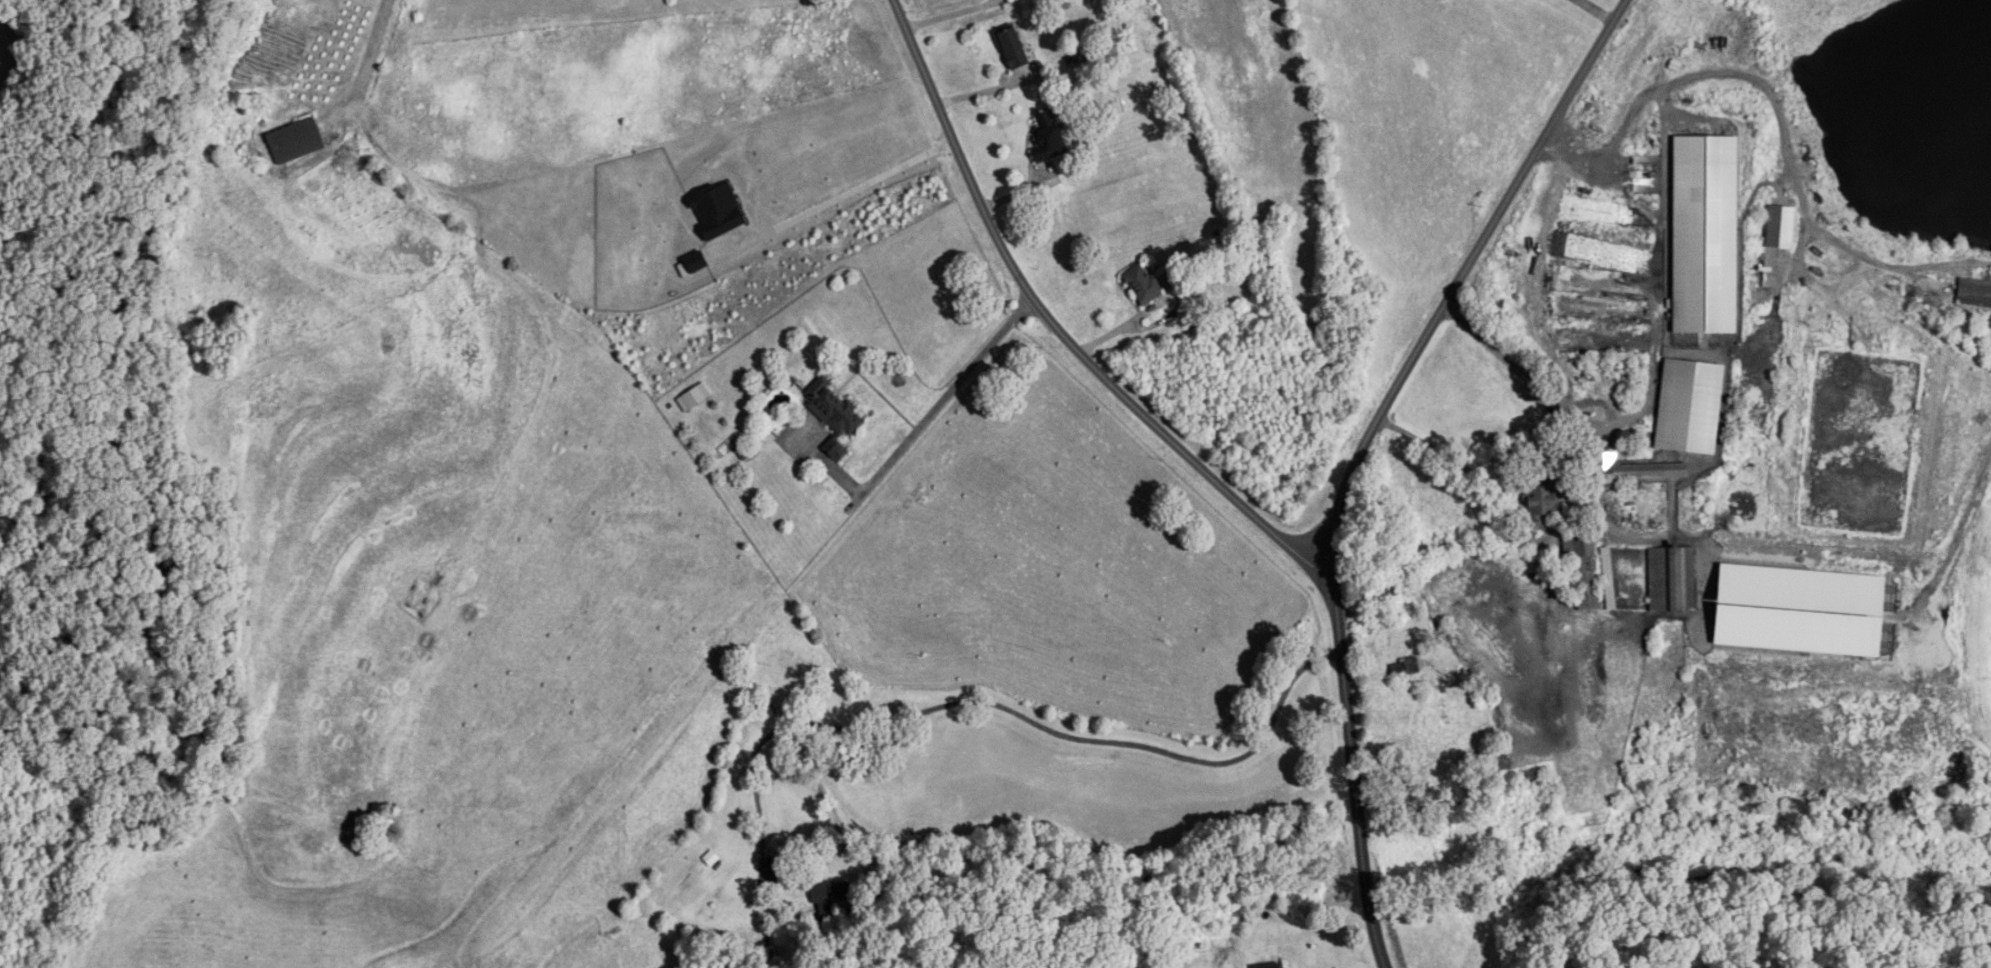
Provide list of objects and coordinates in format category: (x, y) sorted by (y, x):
road: (1595, 10)
road: (952, 13)
building: (1014, 48)
road: (372, 51)
road: (1782, 121)
building: (1049, 135)
building: (296, 142)
road: (865, 183)
building: (1785, 225)
building: (1706, 235)
building: (1144, 284)
building: (1975, 292)
building: (1987, 322)
road: (1059, 330)
building: (1691, 406)
building: (834, 408)
road: (932, 412)
building: (838, 451)
road: (1360, 451)
building: (1641, 471)
road: (1576, 502)
building: (1545, 503)
building: (1585, 571)
building: (1610, 579)
building: (1676, 579)
building: (1405, 667)
road: (1014, 712)
building: (826, 899)
building: (1276, 966)

